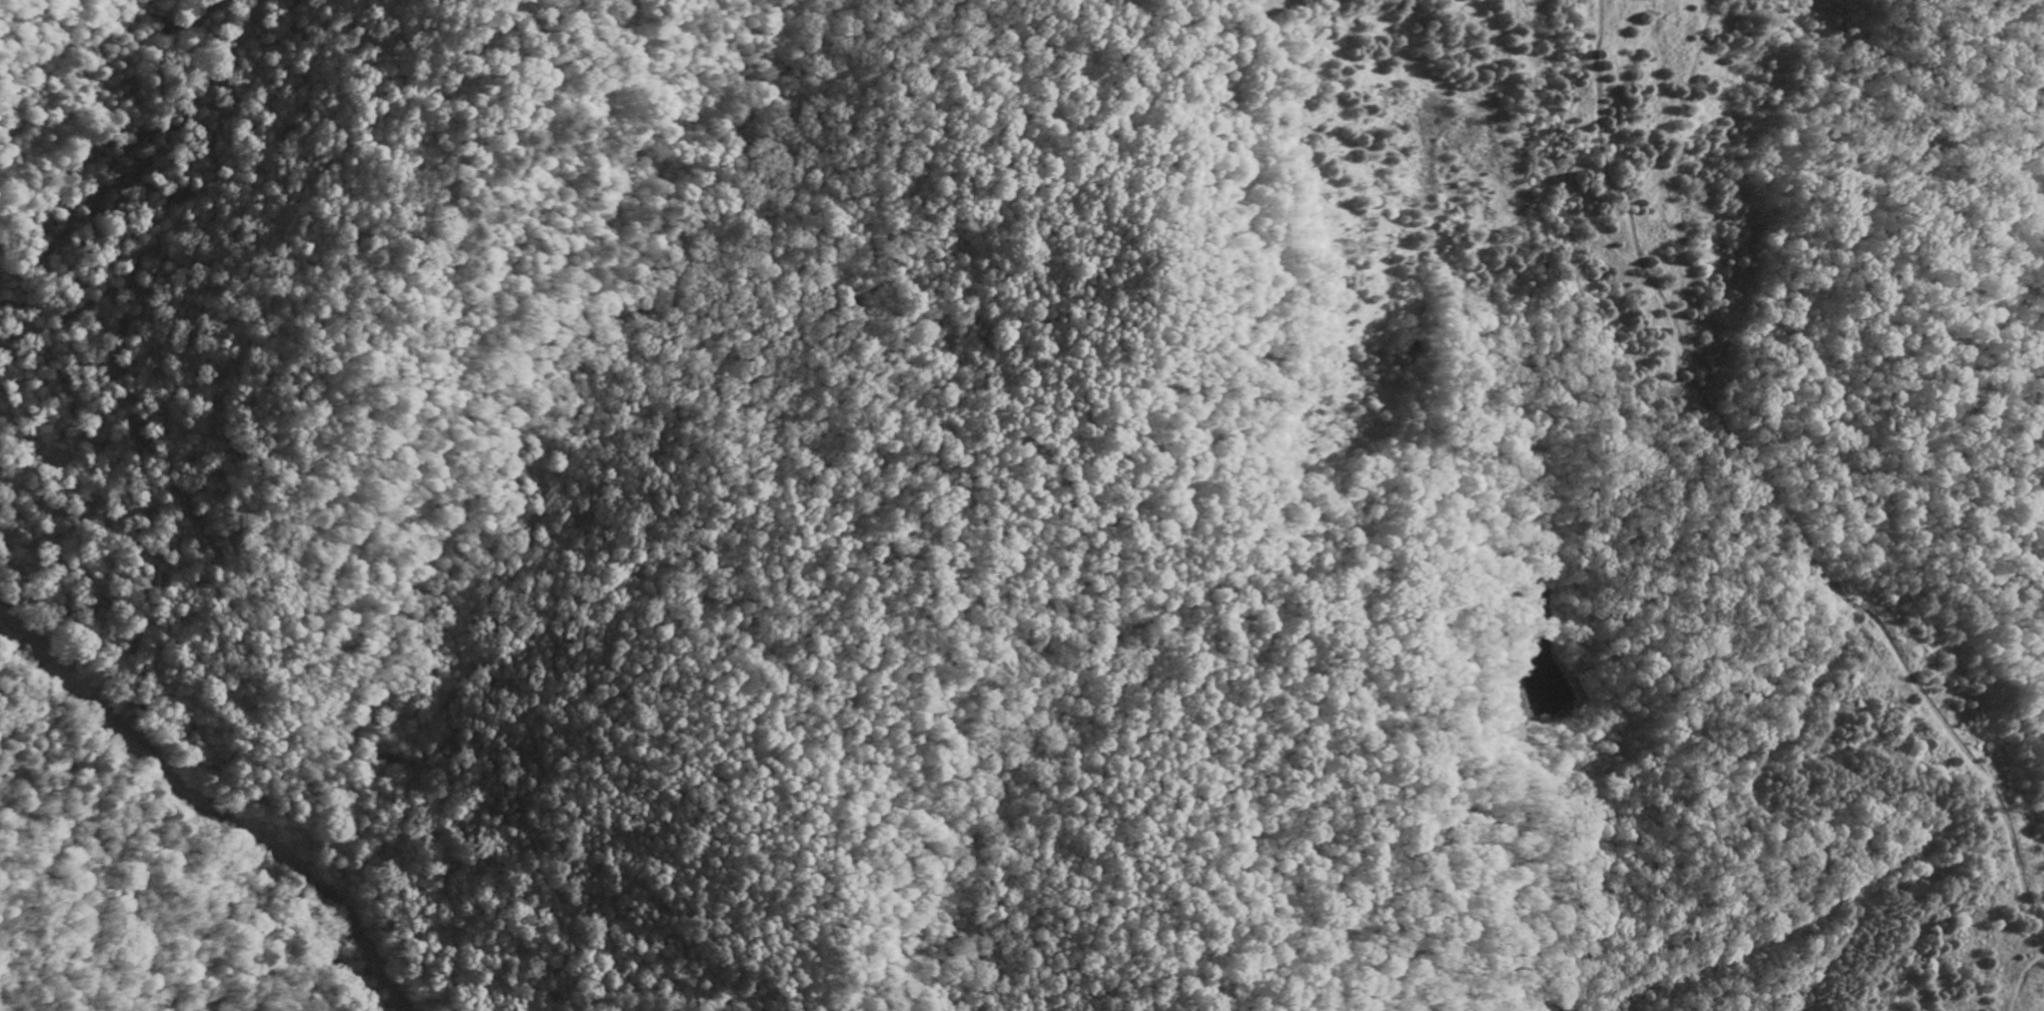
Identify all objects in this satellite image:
road: (1258, 74)
road: (620, 440)

